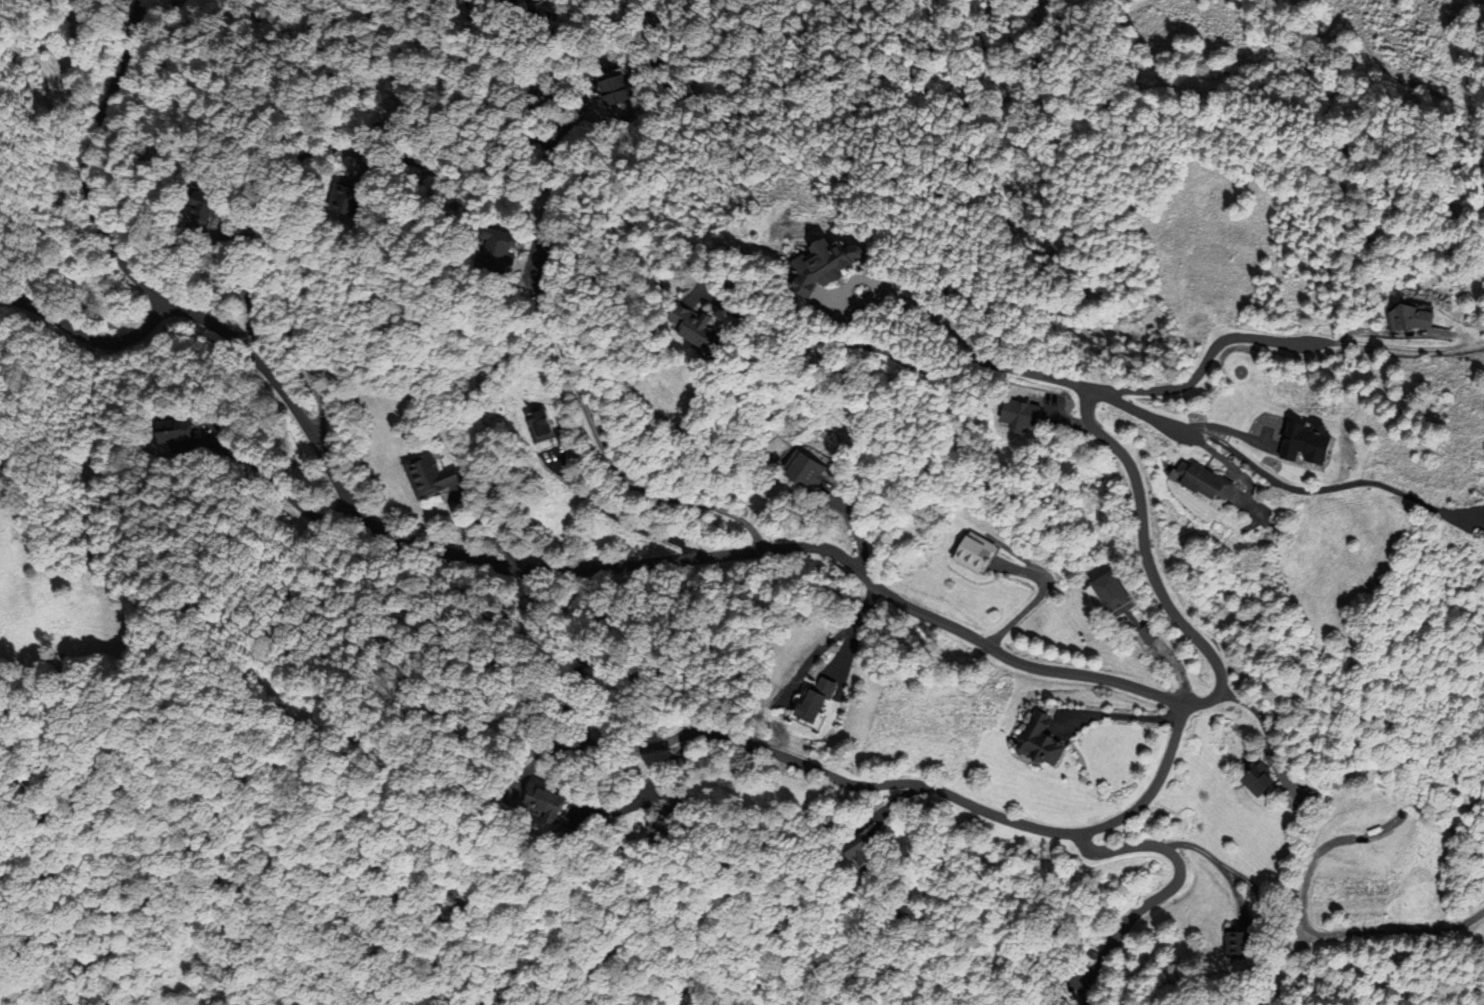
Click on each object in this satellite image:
building: (602, 90)
road: (269, 242)
building: (493, 248)
building: (815, 265)
road: (228, 279)
building: (1407, 317)
building: (693, 325)
road: (1401, 334)
road: (87, 337)
road: (835, 341)
road: (1408, 348)
road: (1208, 355)
road: (566, 364)
road: (1040, 374)
road: (1140, 411)
building: (545, 427)
building: (160, 433)
building: (818, 472)
building: (432, 476)
building: (1207, 483)
road: (1327, 488)
road: (613, 513)
building: (1481, 534)
building: (971, 550)
road: (659, 562)
building: (1115, 594)
road: (1035, 599)
building: (1156, 631)
road: (1175, 670)
building: (813, 703)
road: (1118, 714)
road: (1259, 719)
building: (1033, 743)
road: (664, 765)
building: (1258, 780)
road: (878, 781)
road: (891, 802)
building: (541, 803)
road: (881, 821)
building: (655, 830)
building: (853, 847)
road: (1220, 864)
road: (1177, 884)
road: (1238, 897)
building: (1240, 942)

